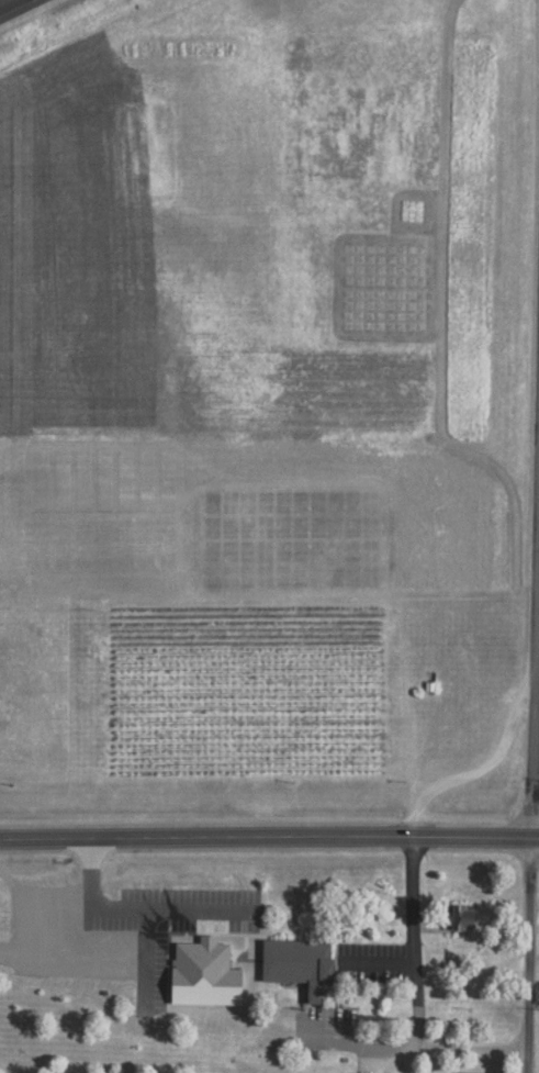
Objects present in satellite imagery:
road: (8, 3)
road: (534, 785)
road: (269, 839)
road: (416, 839)
building: (471, 915)
building: (306, 962)
road: (461, 1050)
building: (482, 1072)

